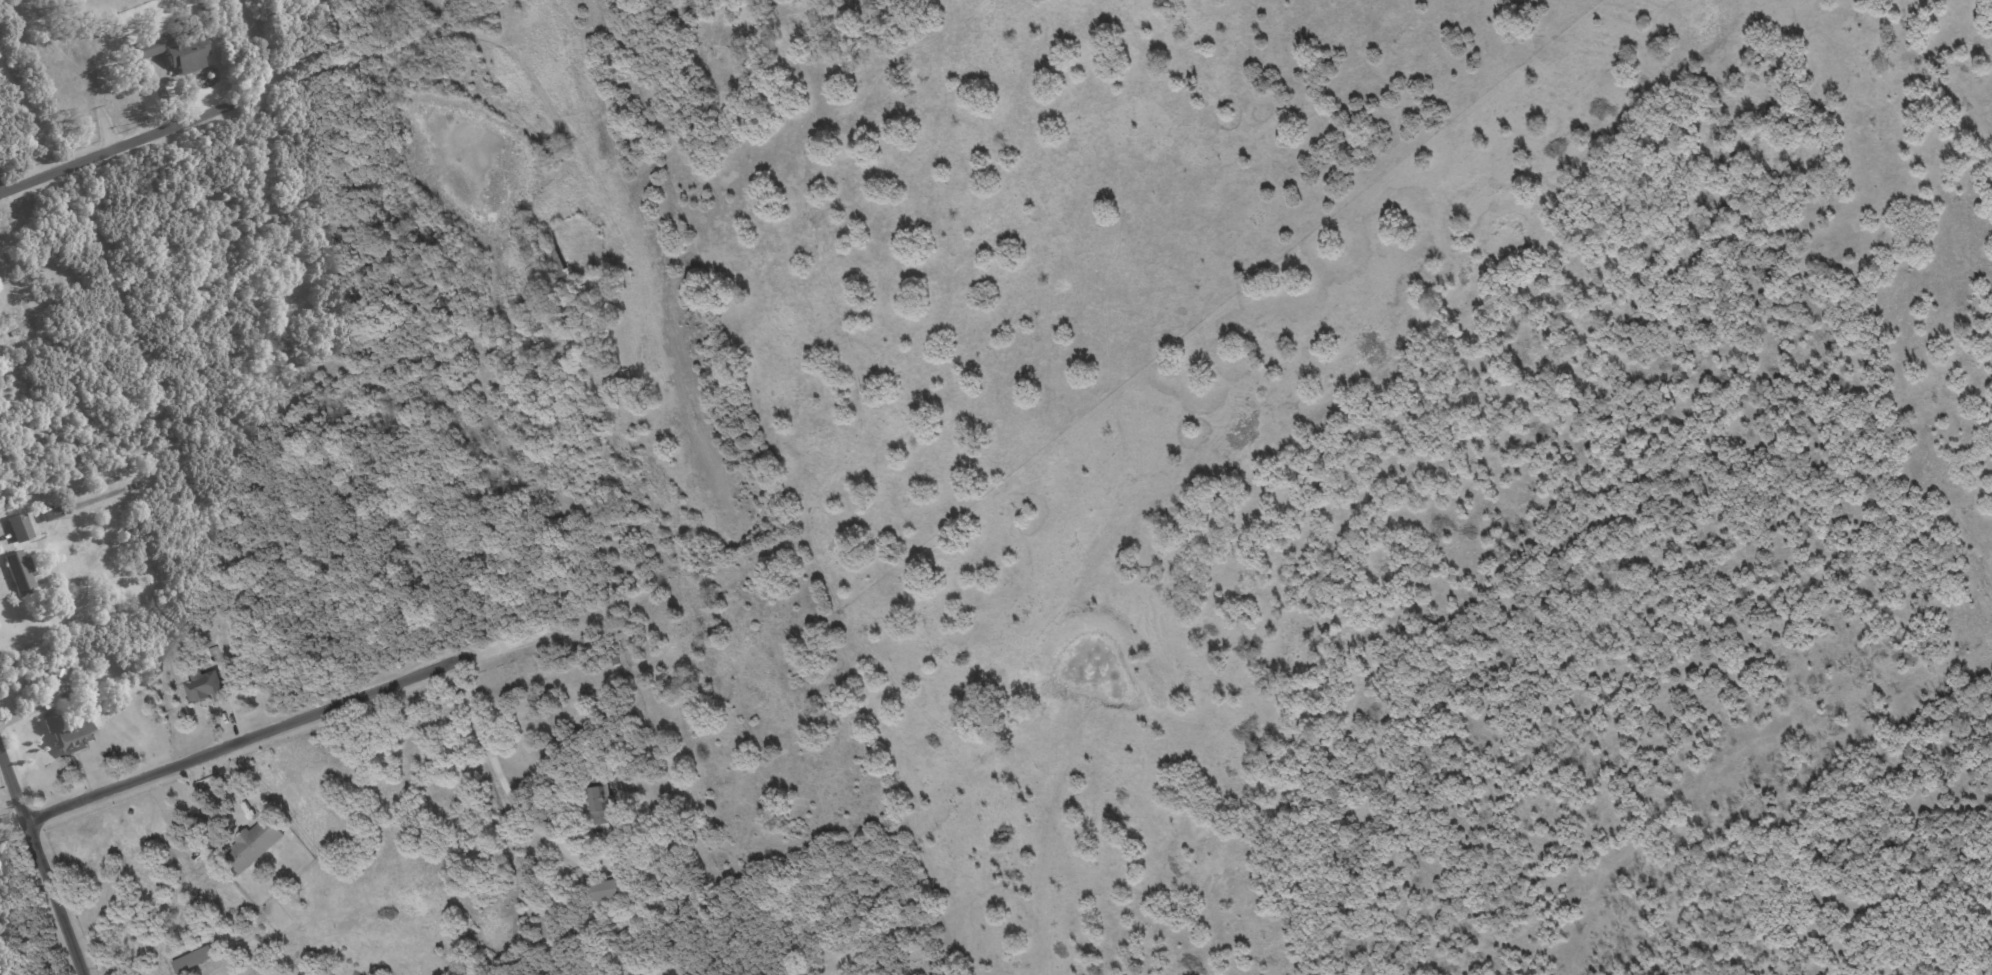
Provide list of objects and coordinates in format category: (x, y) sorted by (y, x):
road: (263, 45)
building: (175, 51)
road: (78, 69)
road: (145, 138)
airport runway: (639, 259)
building: (50, 513)
building: (18, 526)
building: (19, 571)
building: (61, 673)
building: (204, 686)
road: (315, 714)
building: (69, 734)
road: (497, 770)
building: (599, 803)
building: (254, 843)
road: (41, 866)
building: (601, 889)
building: (193, 959)

